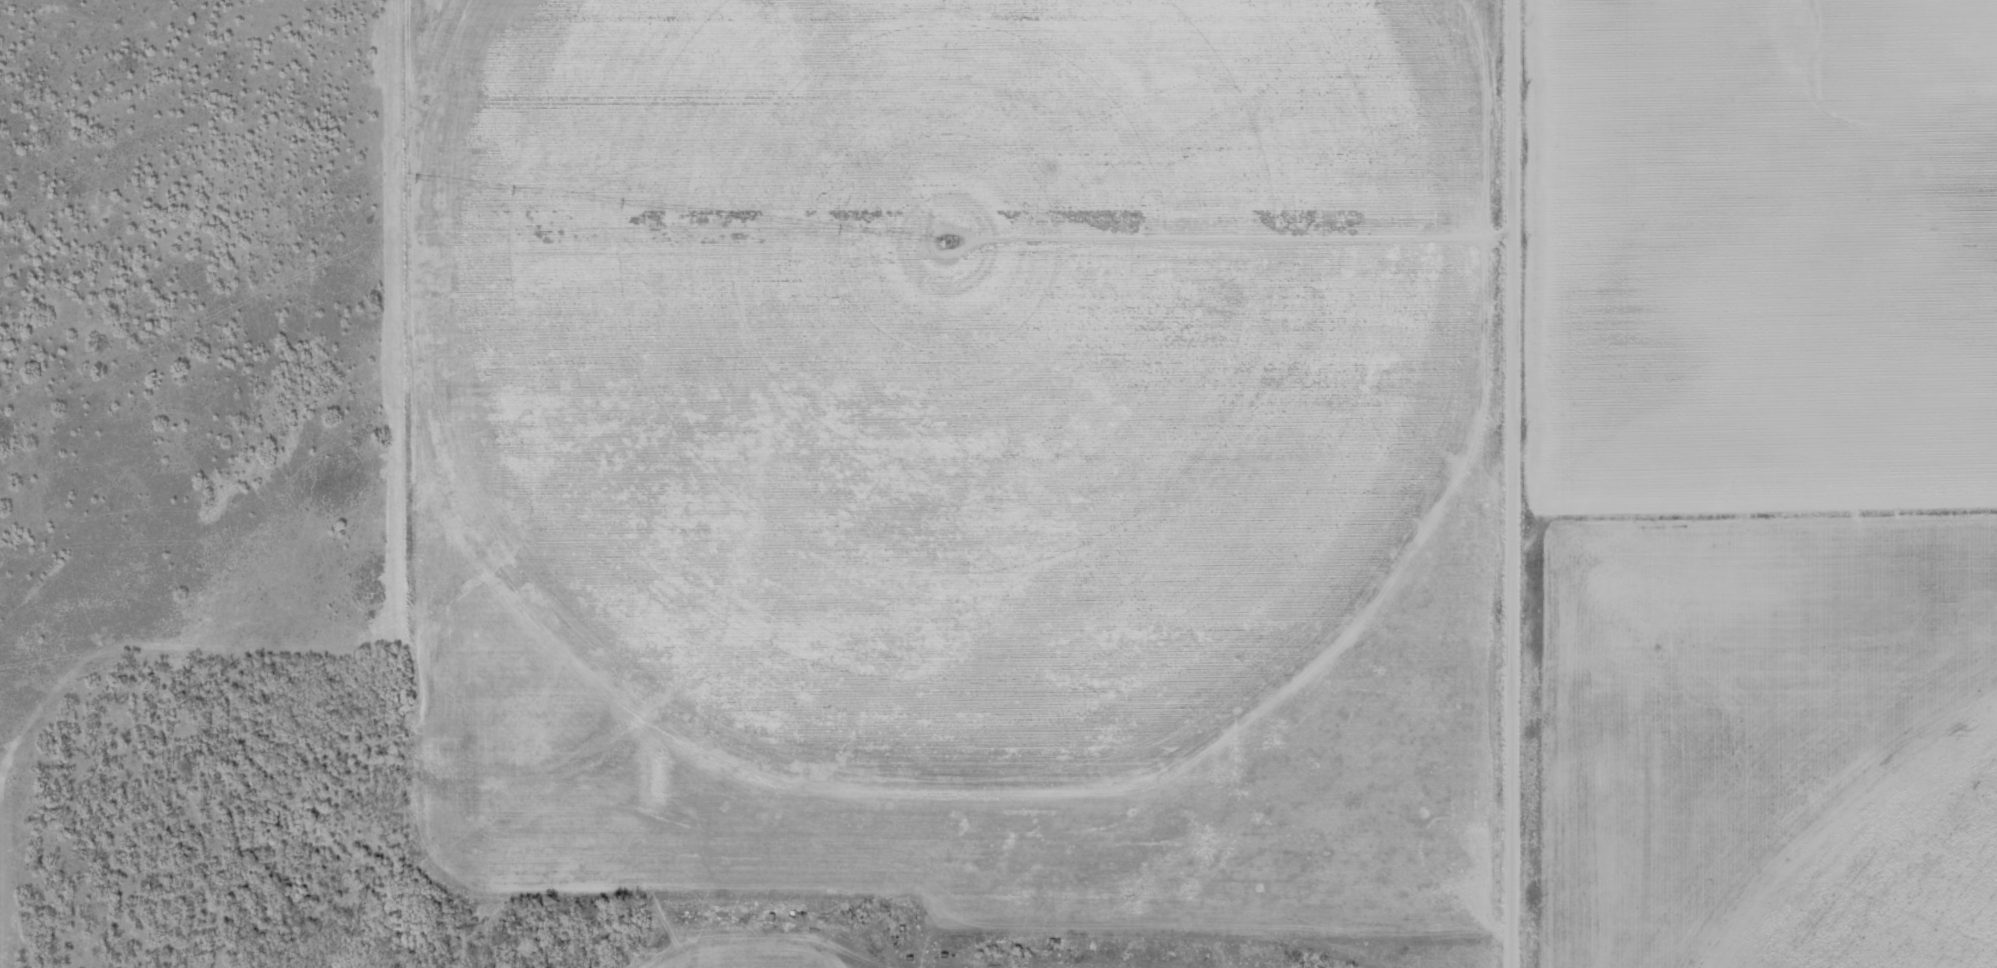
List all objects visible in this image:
road: (1511, 484)

